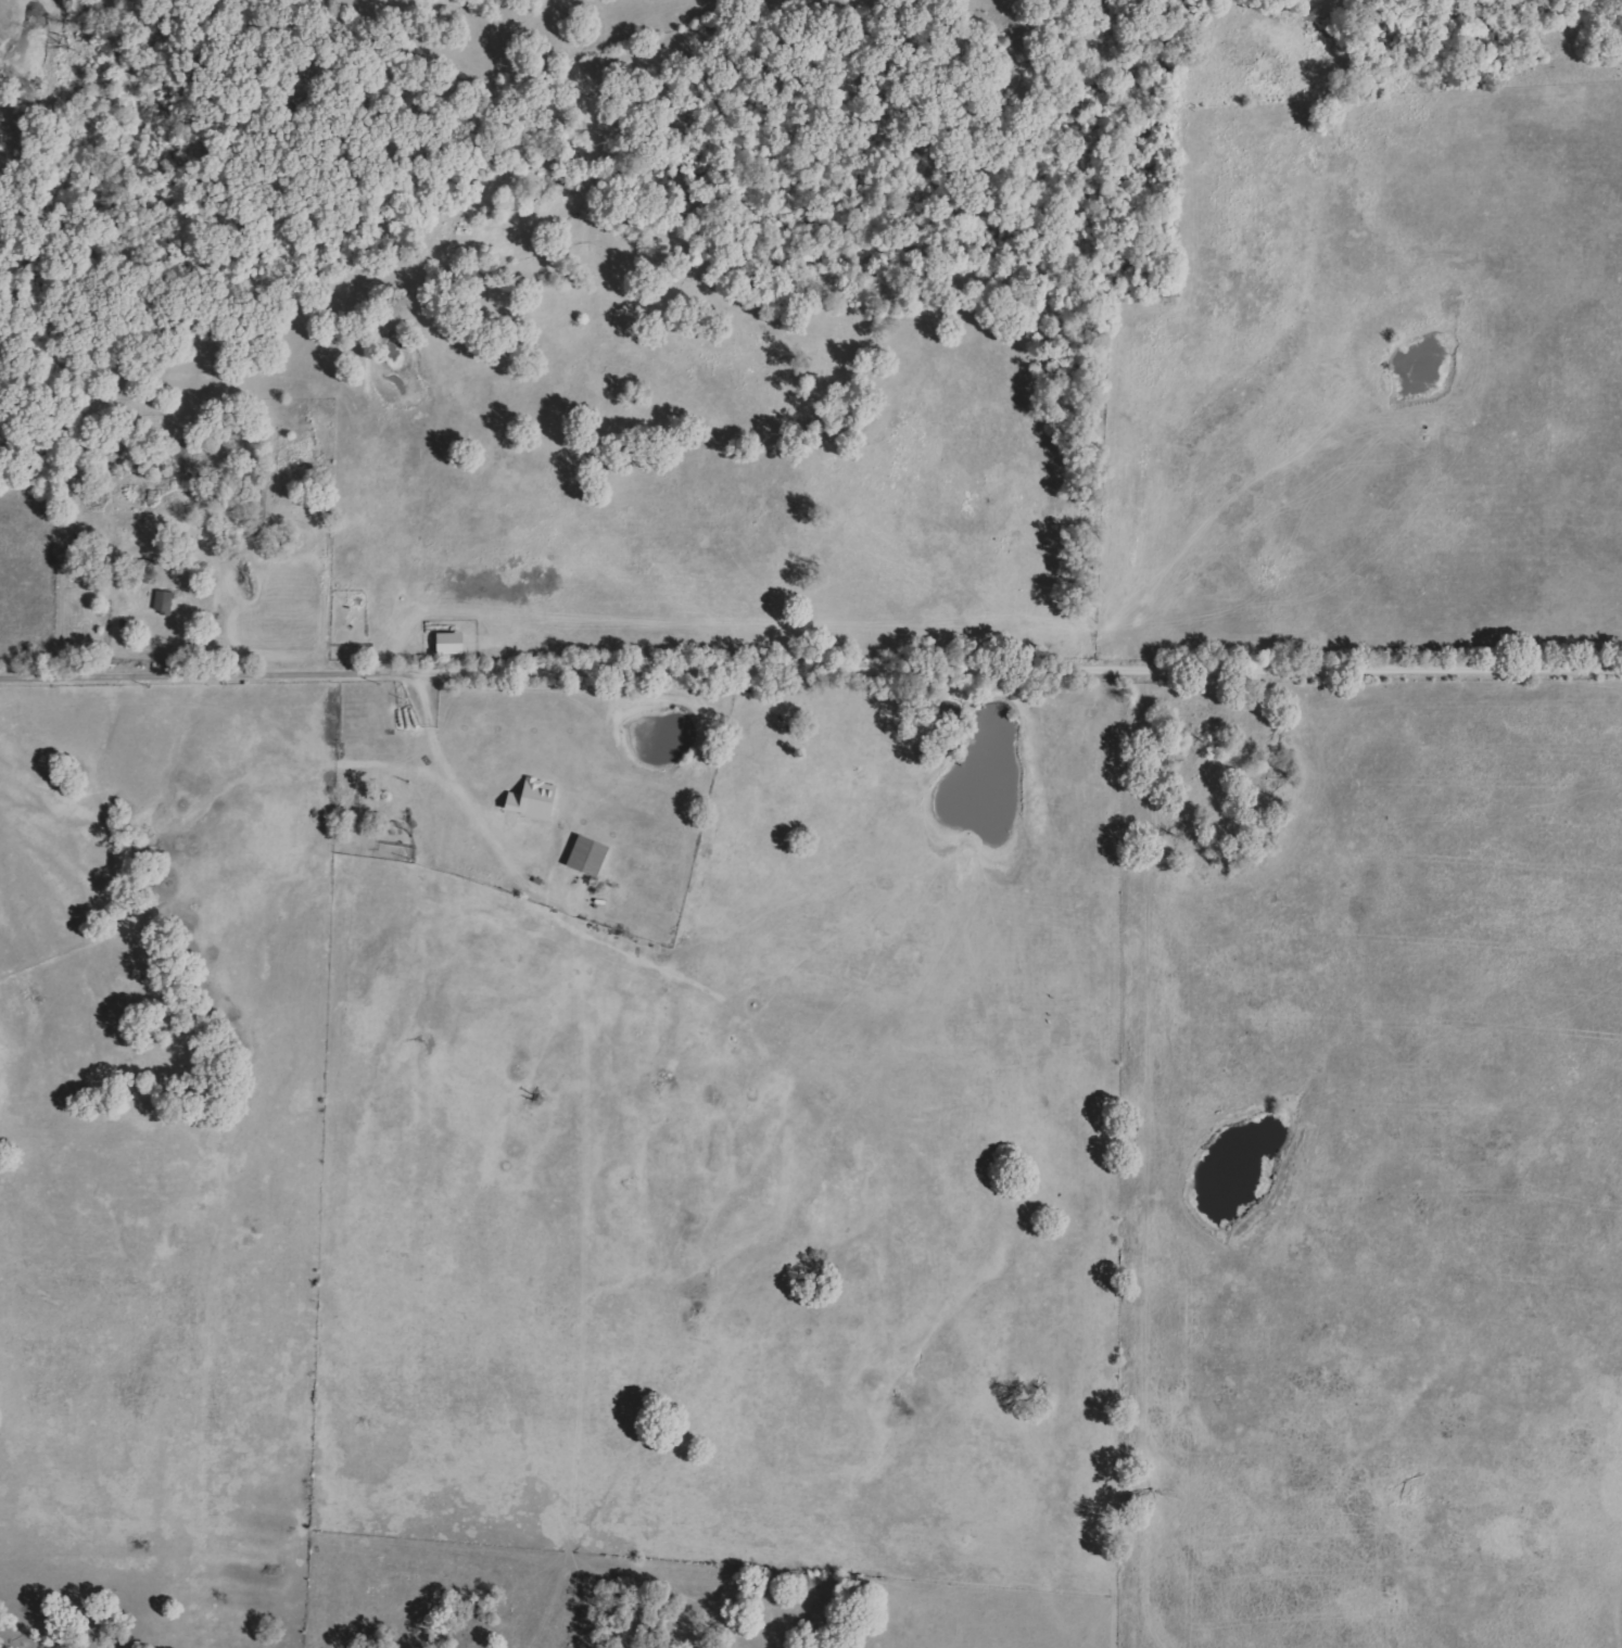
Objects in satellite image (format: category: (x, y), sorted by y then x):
building: (167, 601)
building: (456, 644)
road: (810, 670)
building: (537, 800)
building: (592, 855)

